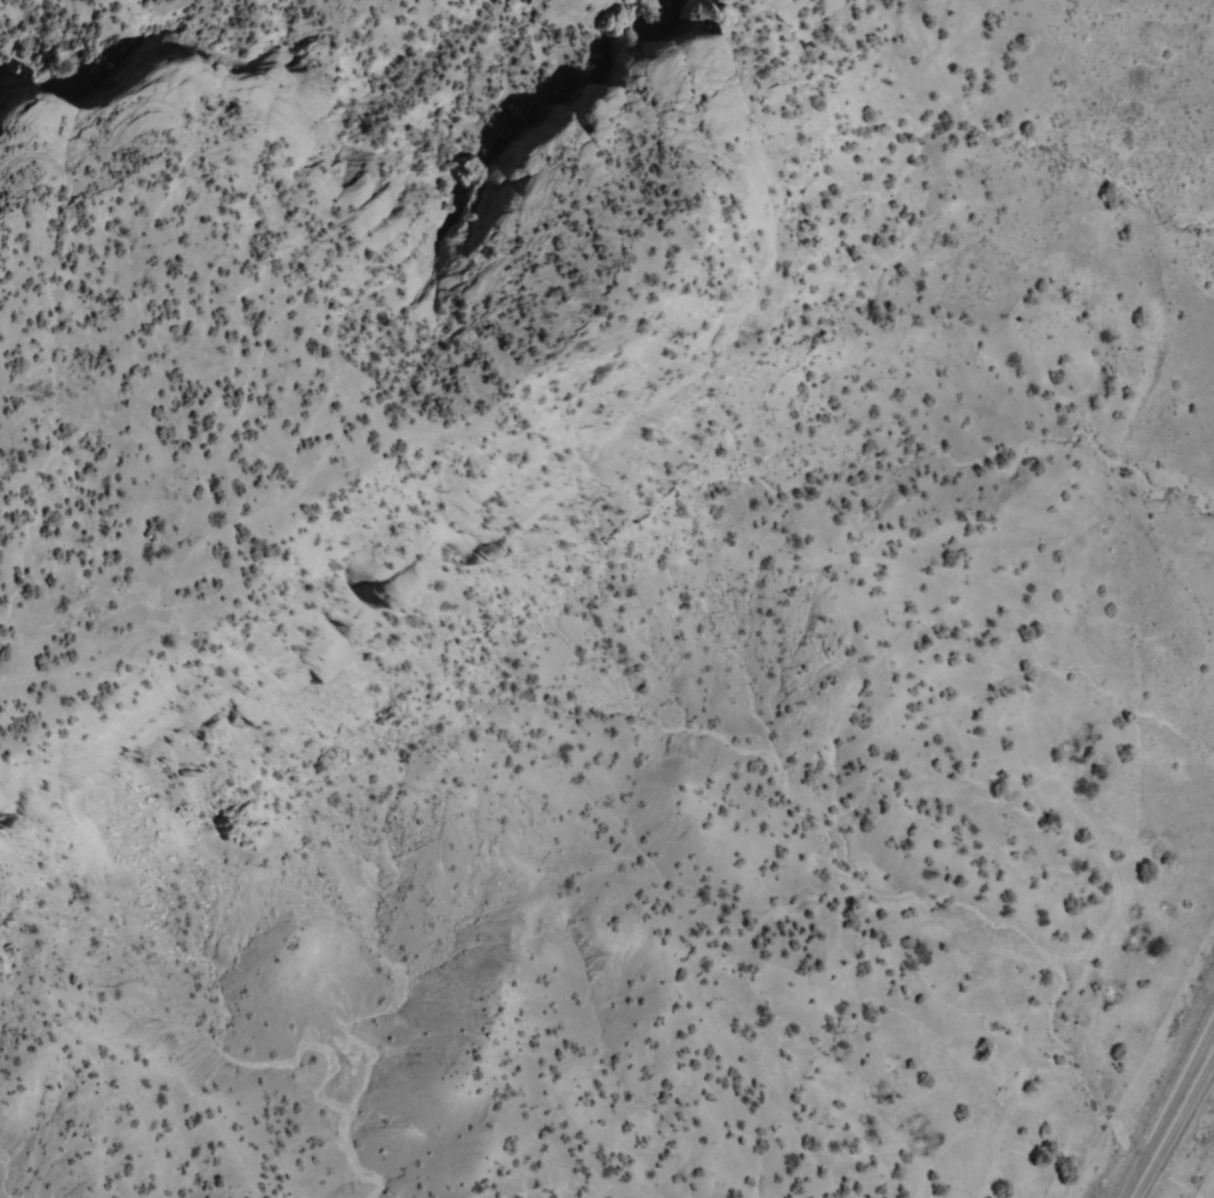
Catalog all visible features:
road: (1171, 1113)

